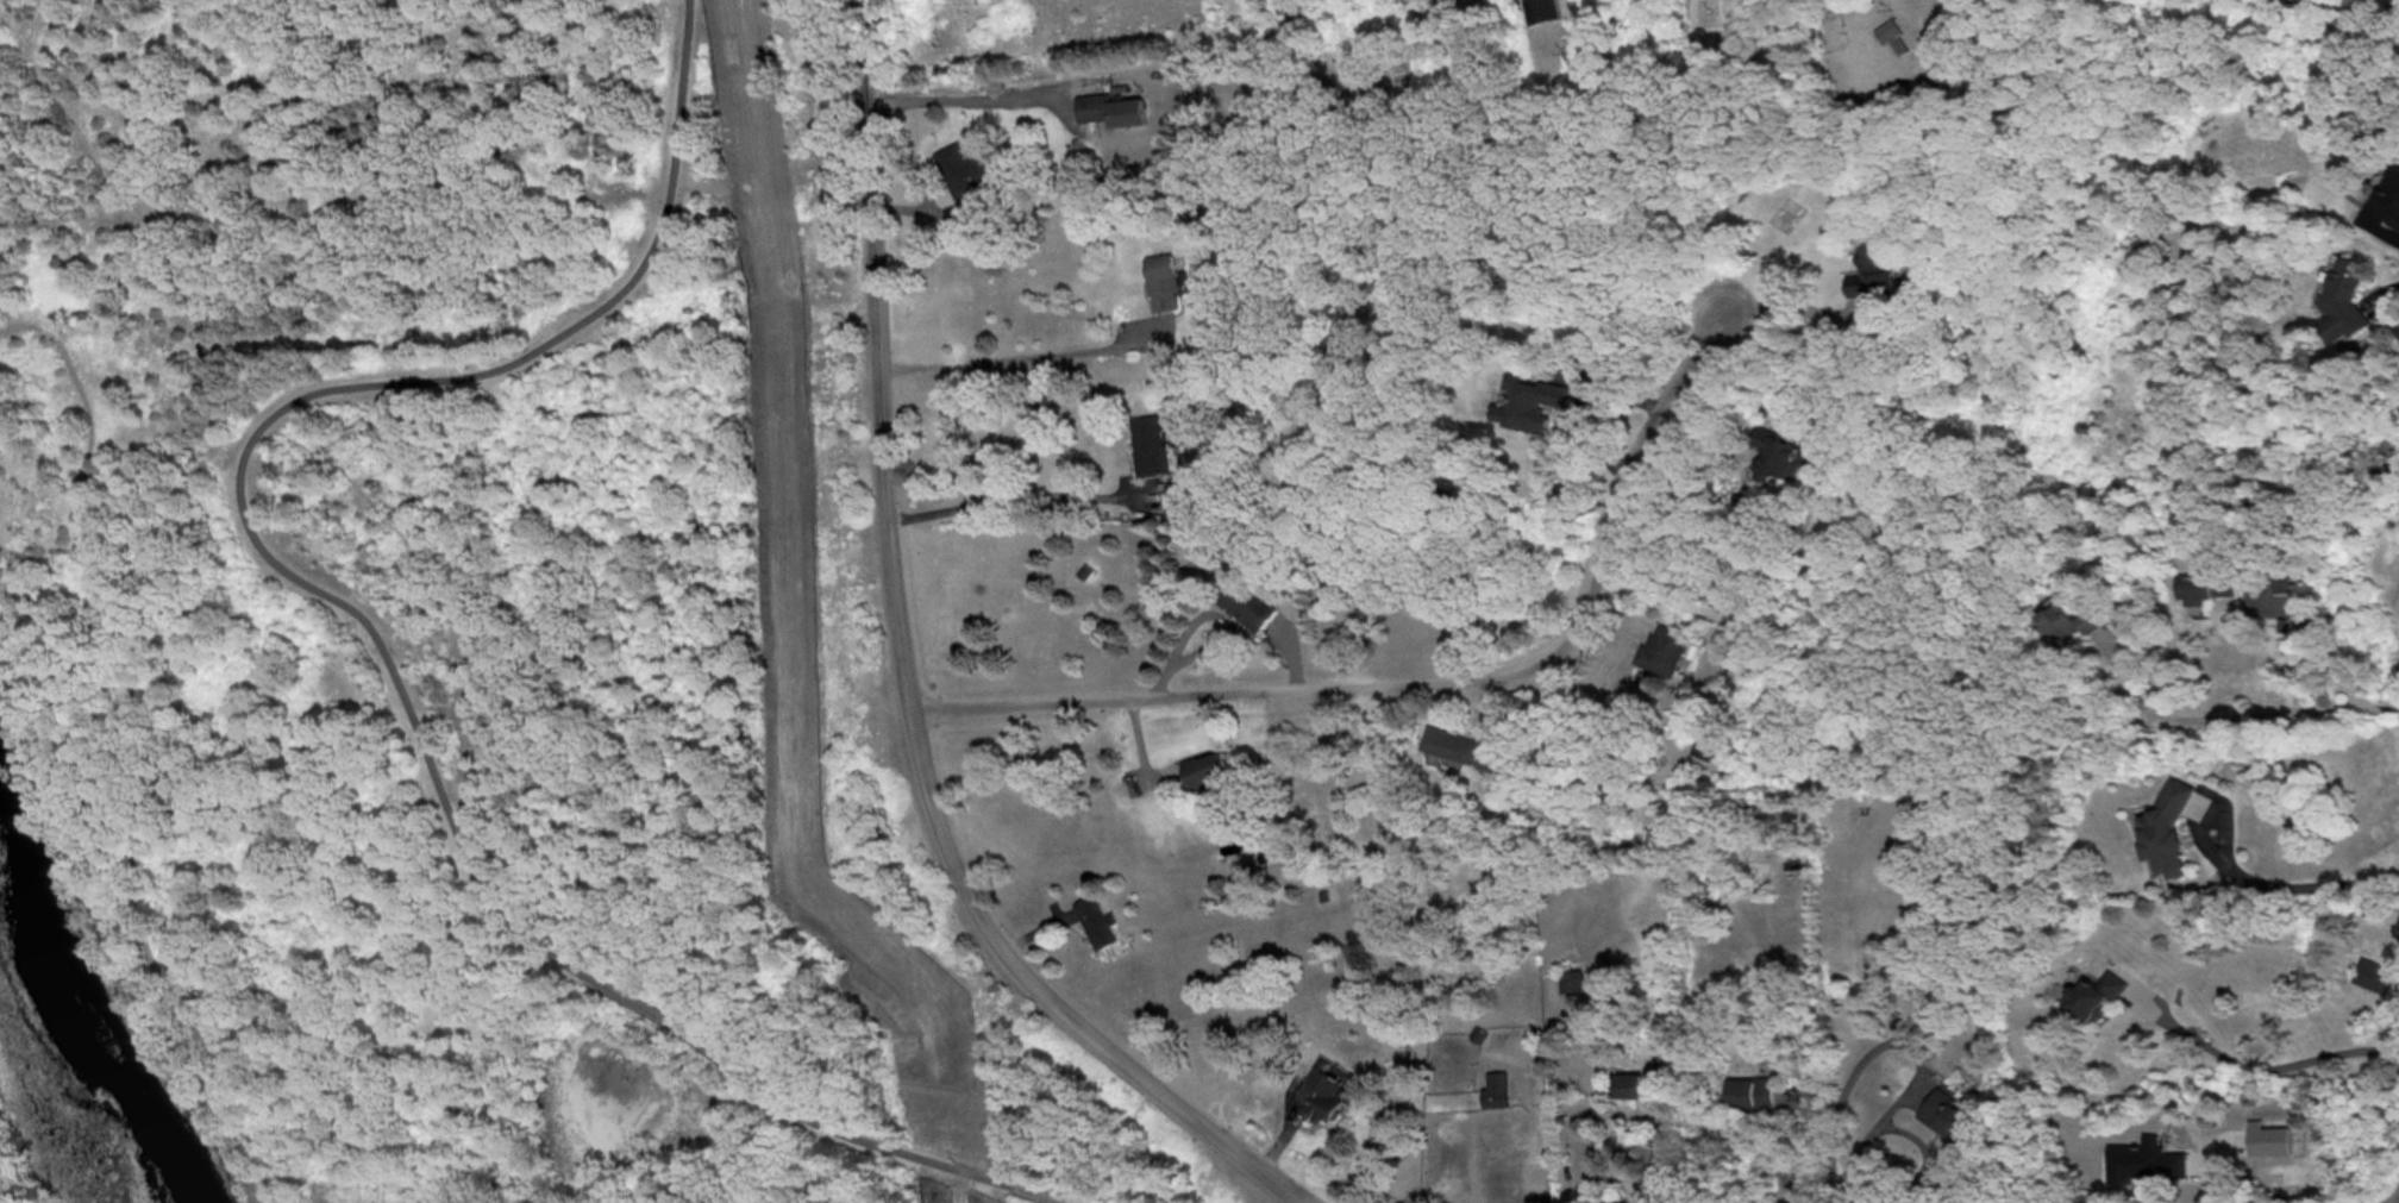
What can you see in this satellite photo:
building: (1545, 10)
road: (2379, 10)
building: (1891, 33)
building: (1113, 108)
building: (962, 167)
building: (2393, 193)
road: (937, 209)
building: (2398, 220)
road: (154, 237)
building: (1873, 271)
building: (1167, 281)
building: (2349, 300)
road: (1025, 355)
road: (1586, 400)
building: (1540, 401)
road: (264, 427)
building: (1151, 443)
building: (1780, 455)
road: (337, 466)
road: (1003, 496)
building: (2210, 587)
building: (1246, 601)
road: (1199, 612)
building: (2072, 618)
park: (499, 641)
road: (2316, 643)
road: (126, 645)
building: (1661, 649)
road: (904, 679)
road: (1442, 683)
road: (461, 704)
road: (2248, 715)
building: (1462, 746)
building: (1703, 748)
building: (1208, 766)
road: (2211, 810)
building: (2169, 828)
building: (1794, 852)
road: (2313, 882)
building: (1096, 920)
building: (2395, 932)
building: (2372, 973)
building: (1572, 979)
building: (2098, 995)
river: (76, 1001)
road: (674, 1025)
road: (1904, 1039)
road: (2272, 1065)
building: (1639, 1084)
building: (1330, 1086)
building: (1495, 1088)
building: (1754, 1091)
road: (1793, 1101)
building: (1950, 1114)
building: (2270, 1138)
road: (872, 1141)
road: (1927, 1155)
building: (2150, 1160)
road: (1035, 1193)
road: (1786, 1199)
road: (1836, 1199)

